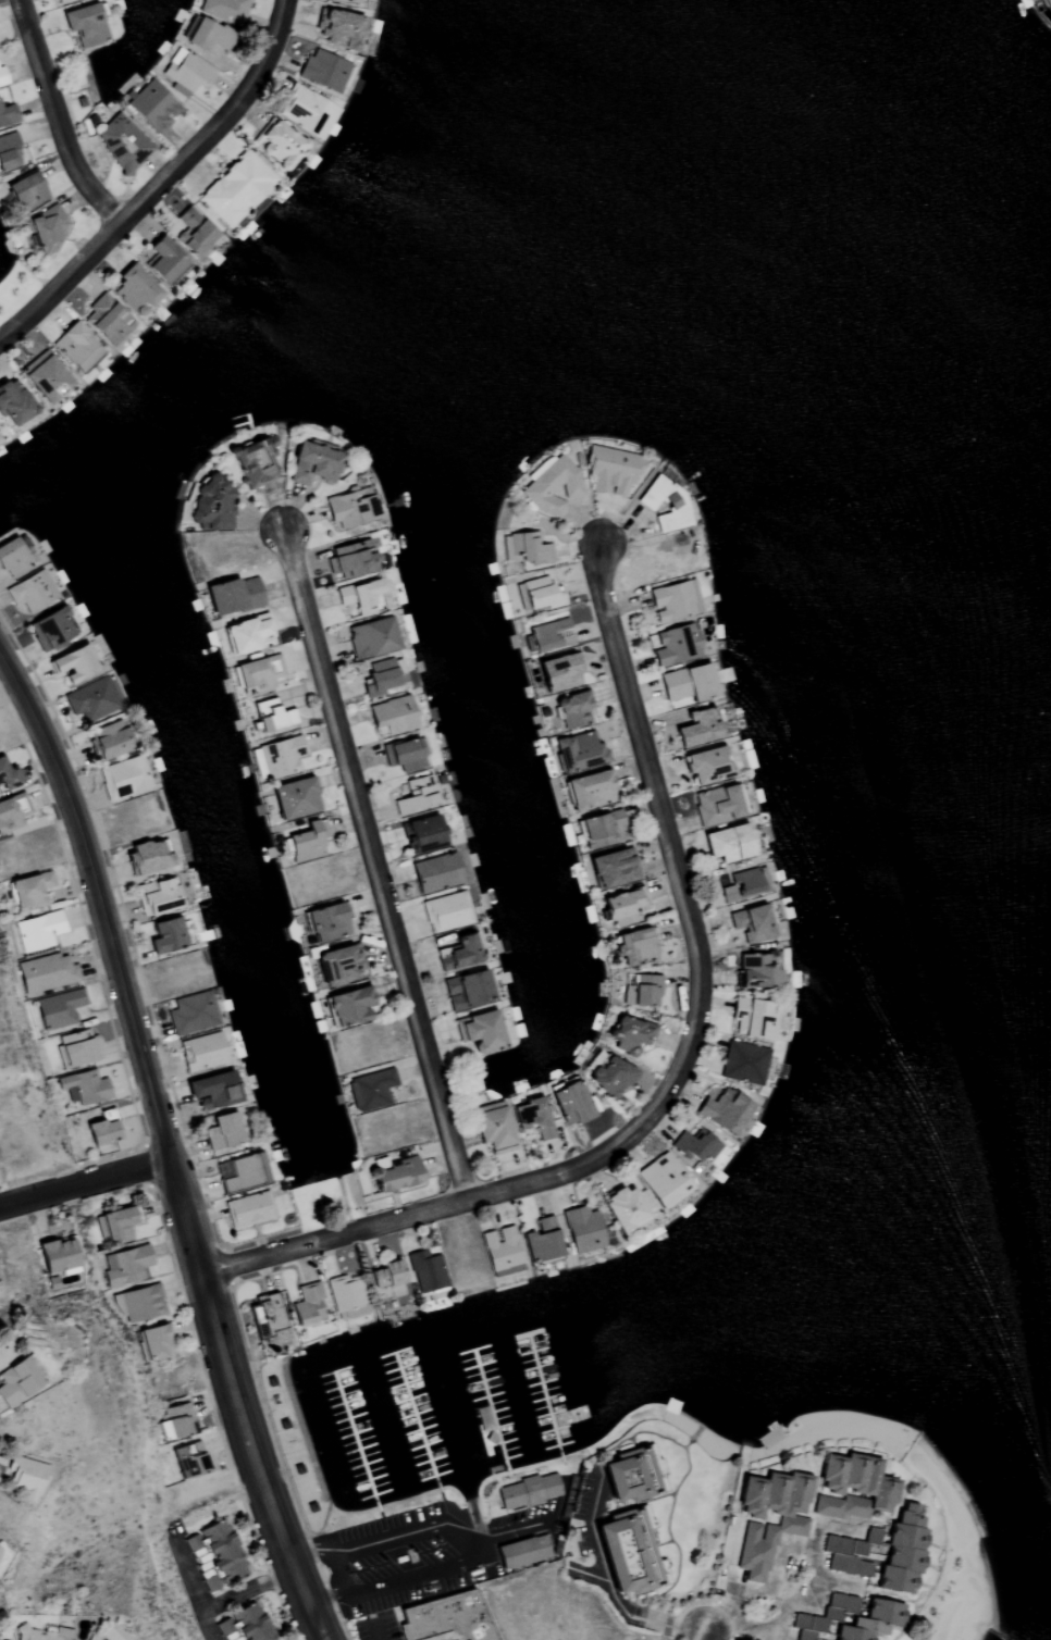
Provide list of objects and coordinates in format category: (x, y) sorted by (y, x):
building: (59, 0)
building: (346, 0)
building: (1044, 4)
building: (225, 10)
building: (85, 23)
building: (336, 28)
building: (209, 35)
building: (323, 70)
building: (185, 72)
building: (1, 76)
building: (152, 105)
building: (307, 111)
building: (8, 114)
road: (57, 119)
building: (122, 142)
building: (276, 142)
building: (9, 151)
road: (159, 184)
building: (236, 188)
building: (26, 190)
building: (47, 228)
building: (194, 232)
building: (163, 259)
building: (135, 289)
building: (107, 319)
building: (74, 348)
building: (44, 377)
building: (13, 407)
building: (255, 464)
building: (312, 464)
building: (609, 471)
building: (551, 485)
building: (665, 505)
building: (211, 507)
building: (350, 509)
building: (523, 548)
building: (13, 559)
building: (351, 560)
building: (29, 593)
building: (537, 595)
building: (233, 597)
building: (362, 597)
building: (673, 600)
building: (50, 631)
building: (247, 635)
building: (548, 635)
building: (370, 639)
building: (675, 645)
building: (72, 666)
building: (559, 671)
building: (257, 674)
building: (384, 679)
building: (688, 682)
building: (90, 701)
building: (573, 709)
building: (271, 717)
building: (392, 717)
building: (697, 726)
building: (107, 743)
building: (579, 750)
building: (403, 756)
building: (280, 757)
building: (706, 765)
building: (122, 779)
building: (8, 780)
building: (590, 790)
building: (417, 796)
building: (293, 799)
building: (717, 804)
building: (12, 812)
building: (601, 828)
building: (421, 836)
building: (729, 842)
building: (307, 843)
building: (146, 857)
road: (374, 868)
building: (613, 868)
building: (435, 874)
building: (744, 884)
building: (29, 891)
building: (156, 896)
building: (623, 906)
building: (446, 912)
building: (326, 922)
building: (752, 922)
building: (38, 931)
building: (164, 934)
building: (634, 947)
building: (459, 954)
building: (338, 965)
building: (757, 970)
building: (47, 973)
building: (645, 989)
building: (467, 990)
building: (348, 1006)
building: (59, 1009)
building: (190, 1014)
building: (754, 1018)
building: (480, 1031)
building: (631, 1034)
building: (74, 1048)
building: (200, 1052)
building: (743, 1063)
road: (680, 1066)
building: (607, 1074)
building: (84, 1088)
building: (211, 1090)
building: (370, 1090)
building: (570, 1101)
building: (725, 1110)
building: (532, 1119)
building: (493, 1129)
building: (101, 1131)
building: (221, 1131)
building: (695, 1146)
road: (166, 1150)
building: (261, 1169)
building: (240, 1175)
building: (396, 1176)
building: (661, 1180)
road: (84, 1181)
building: (625, 1208)
building: (247, 1210)
building: (115, 1225)
building: (582, 1230)
building: (542, 1241)
building: (500, 1252)
building: (55, 1255)
building: (126, 1266)
building: (426, 1271)
building: (386, 1275)
building: (344, 1293)
building: (140, 1304)
building: (307, 1305)
building: (265, 1318)
building: (152, 1343)
building: (16, 1381)
pier: (544, 1393)
pier: (490, 1408)
pier: (416, 1419)
pier: (355, 1438)
building: (189, 1459)
building: (628, 1475)
building: (25, 1476)
building: (851, 1488)
building: (527, 1490)
building: (772, 1530)
building: (870, 1537)
road: (461, 1539)
building: (0, 1544)
road: (964, 1545)
building: (521, 1551)
building: (626, 1551)
building: (901, 1553)
building: (217, 1555)
building: (846, 1556)
road: (814, 1558)
parking lot: (400, 1564)
park: (954, 1568)
road: (338, 1570)
road: (237, 1594)
road: (621, 1611)
building: (824, 1616)
building: (446, 1618)
building: (871, 1622)
building: (245, 1625)
road: (677, 1628)
road: (375, 1632)
building: (40, 1635)
road: (702, 1637)
parking lot: (445, 1639)

